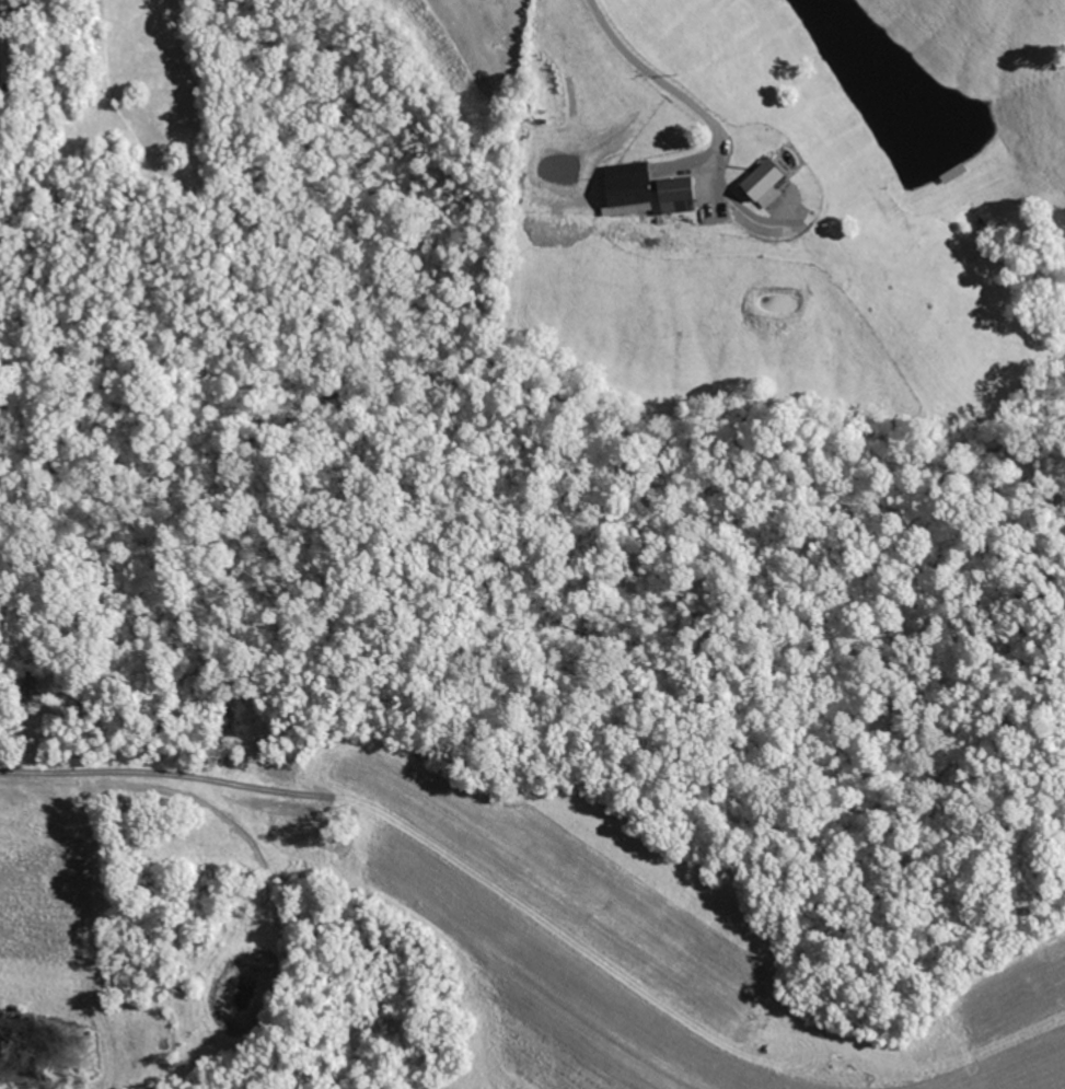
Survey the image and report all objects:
building: (757, 179)
building: (638, 192)

